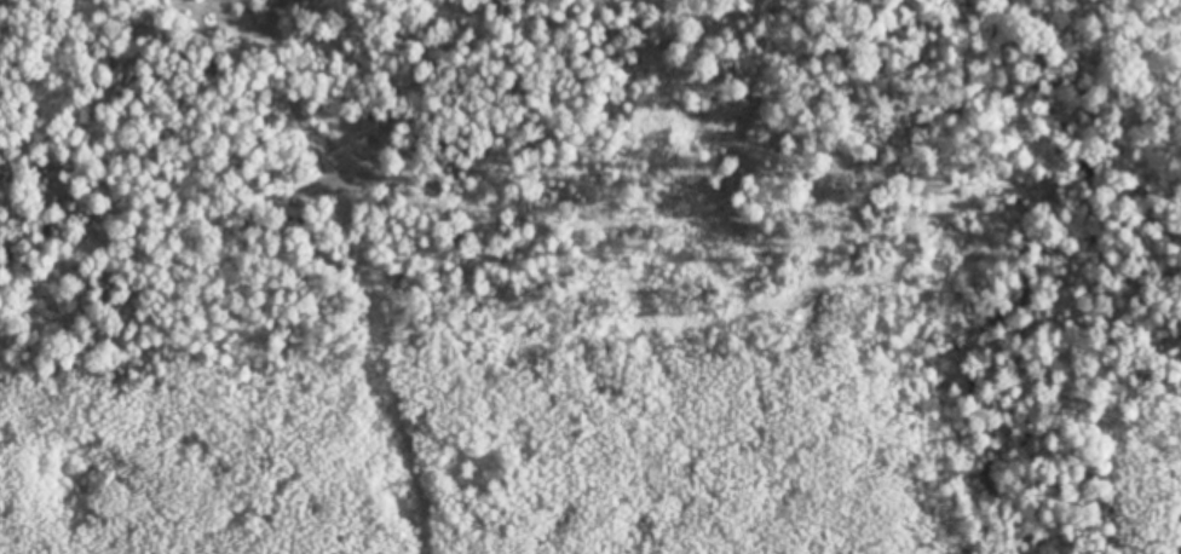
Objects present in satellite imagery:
road: (1179, 420)

